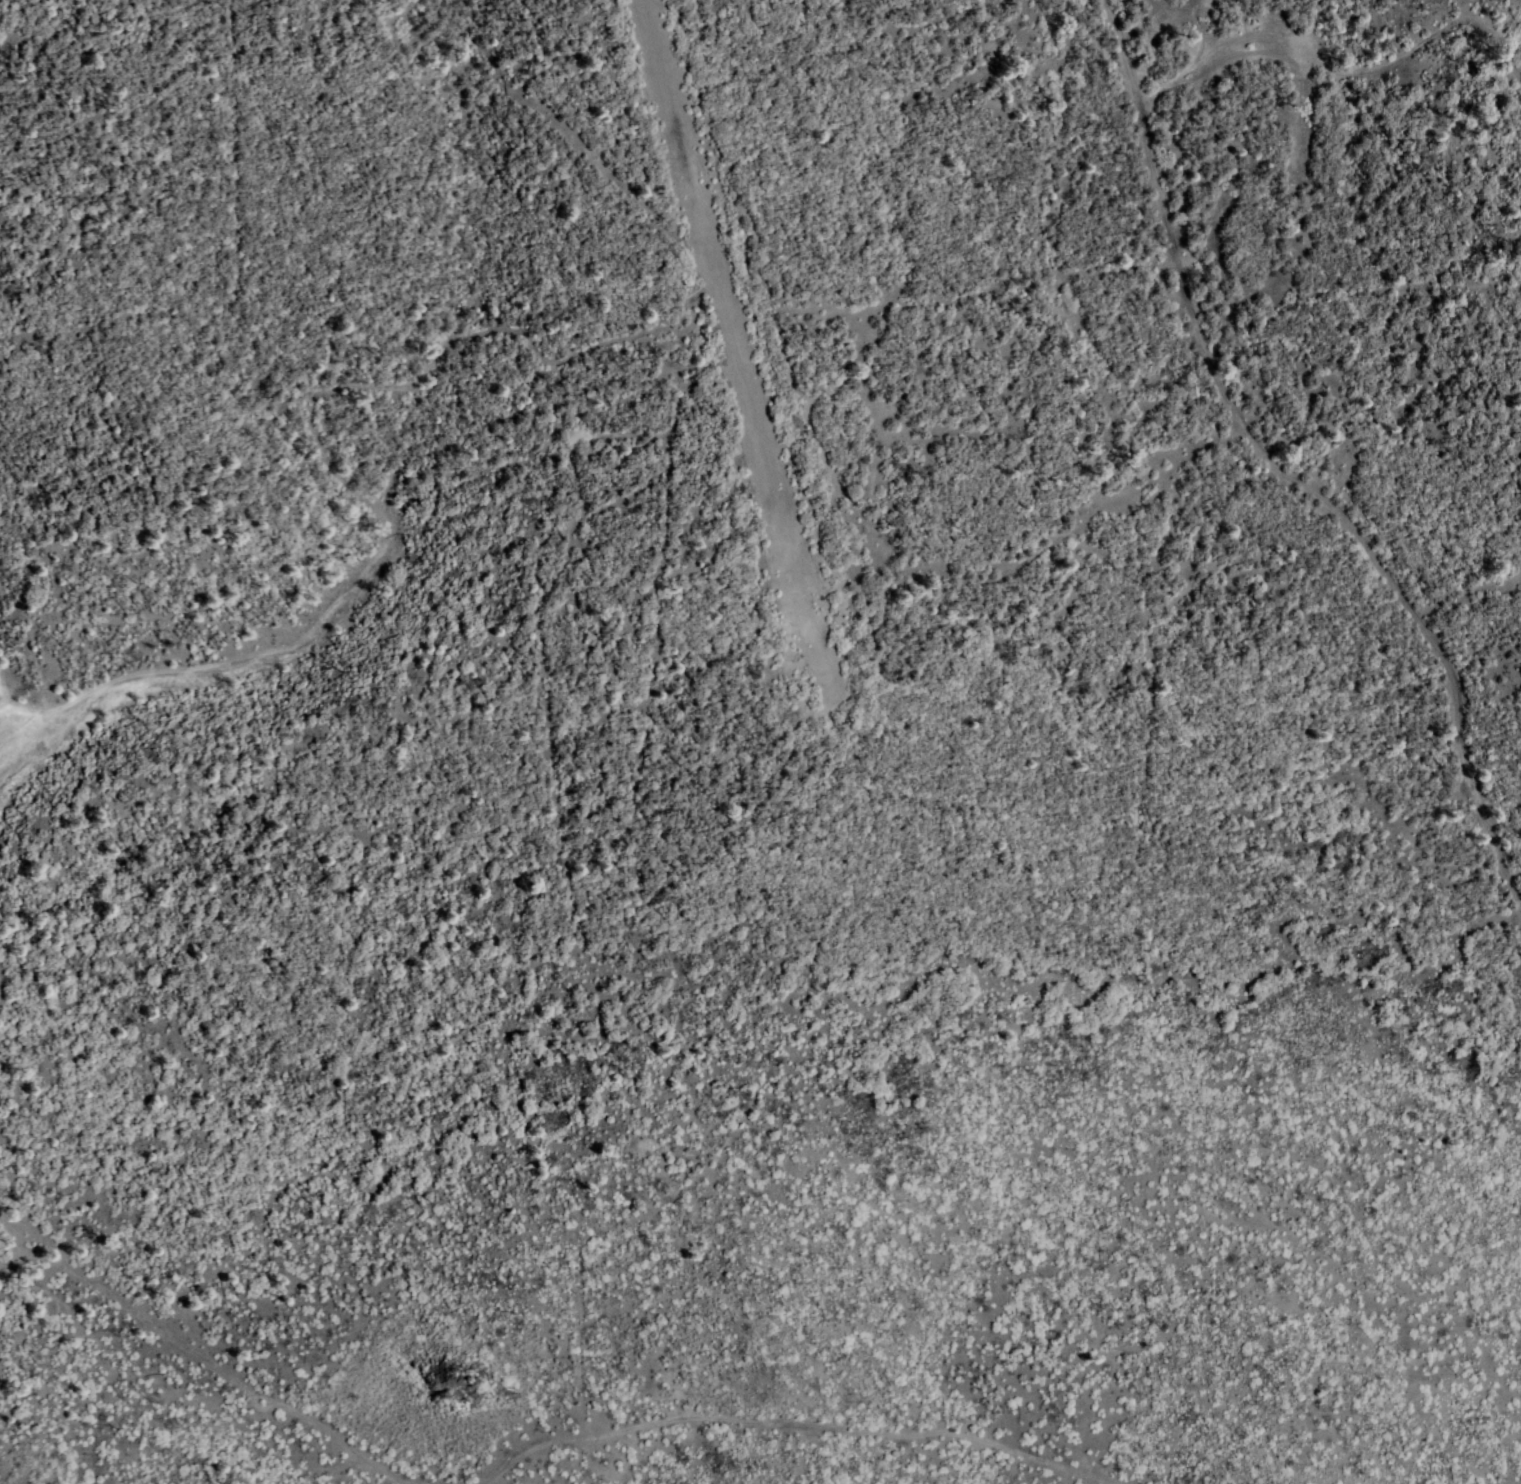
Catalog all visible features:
airport runway: (713, 322)
road: (1280, 470)
road: (7, 1266)

